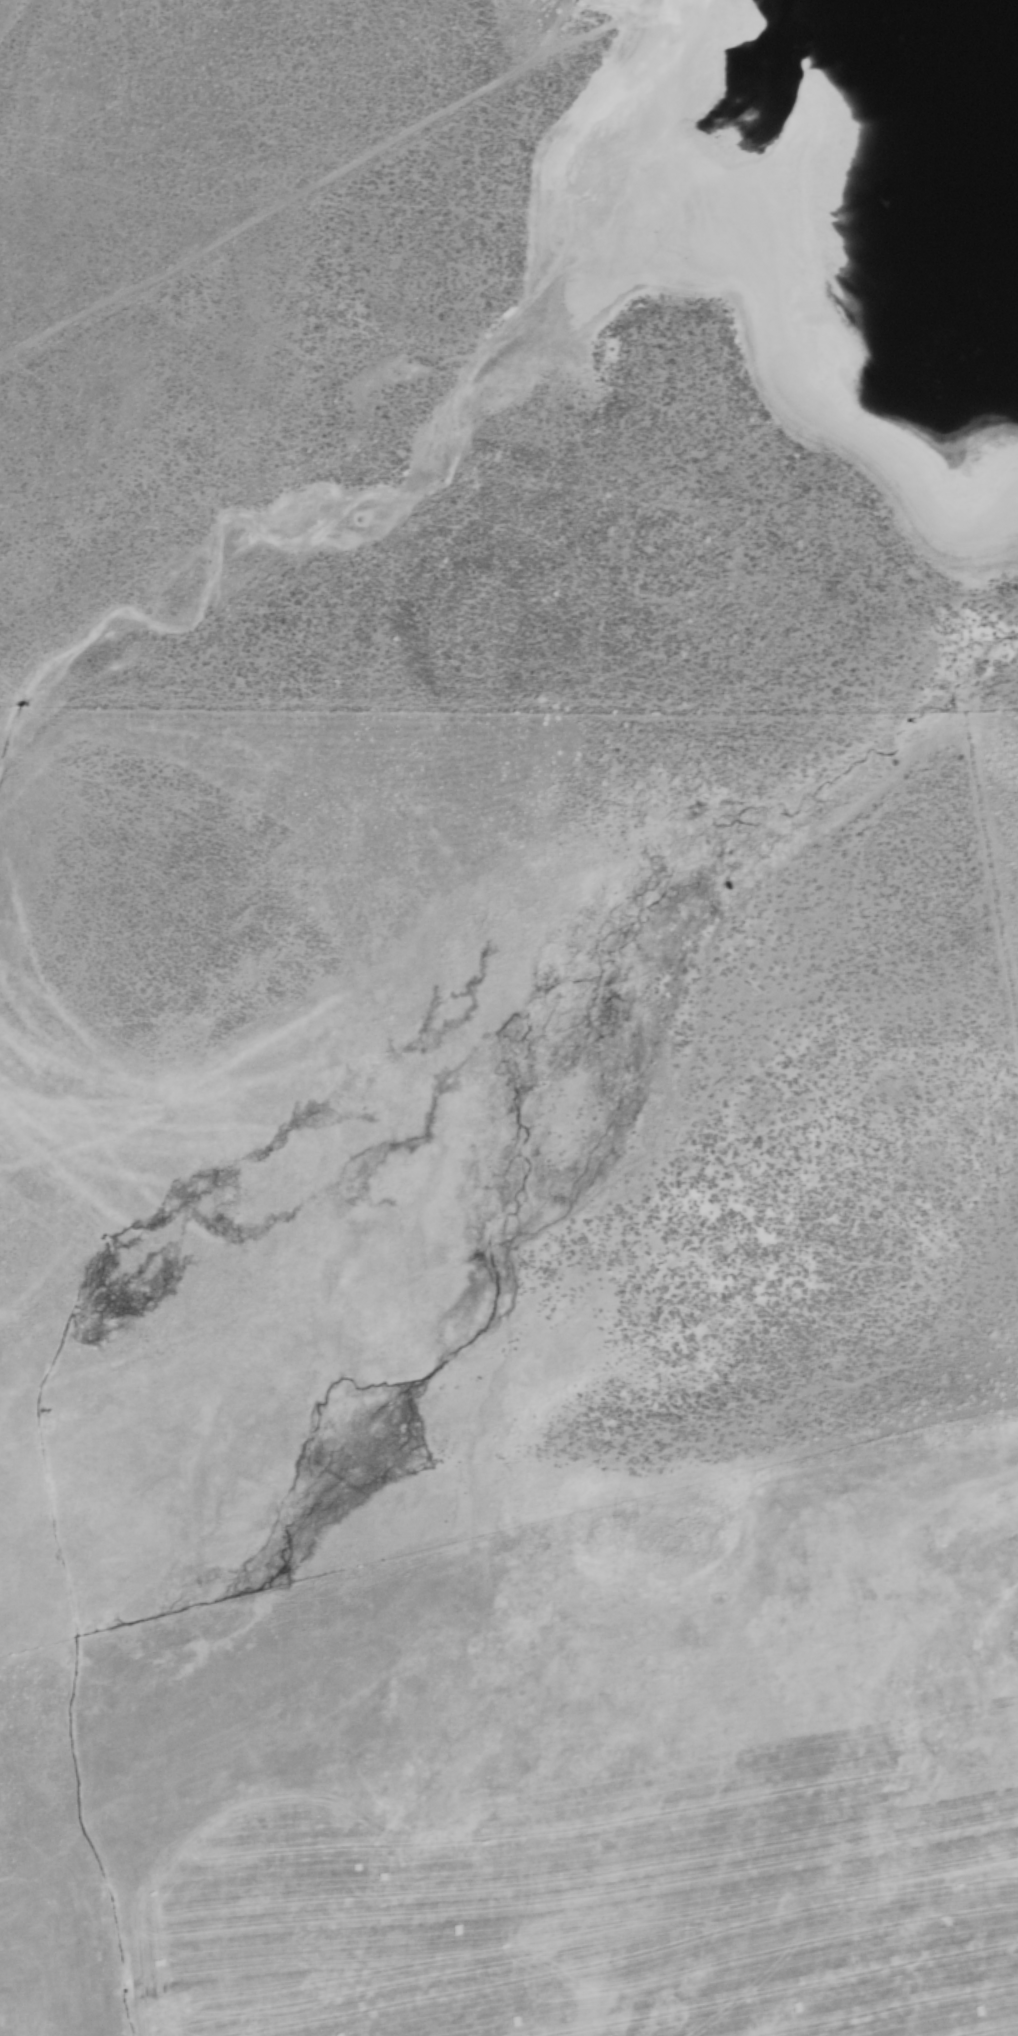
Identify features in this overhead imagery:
dam: (619, 2)

